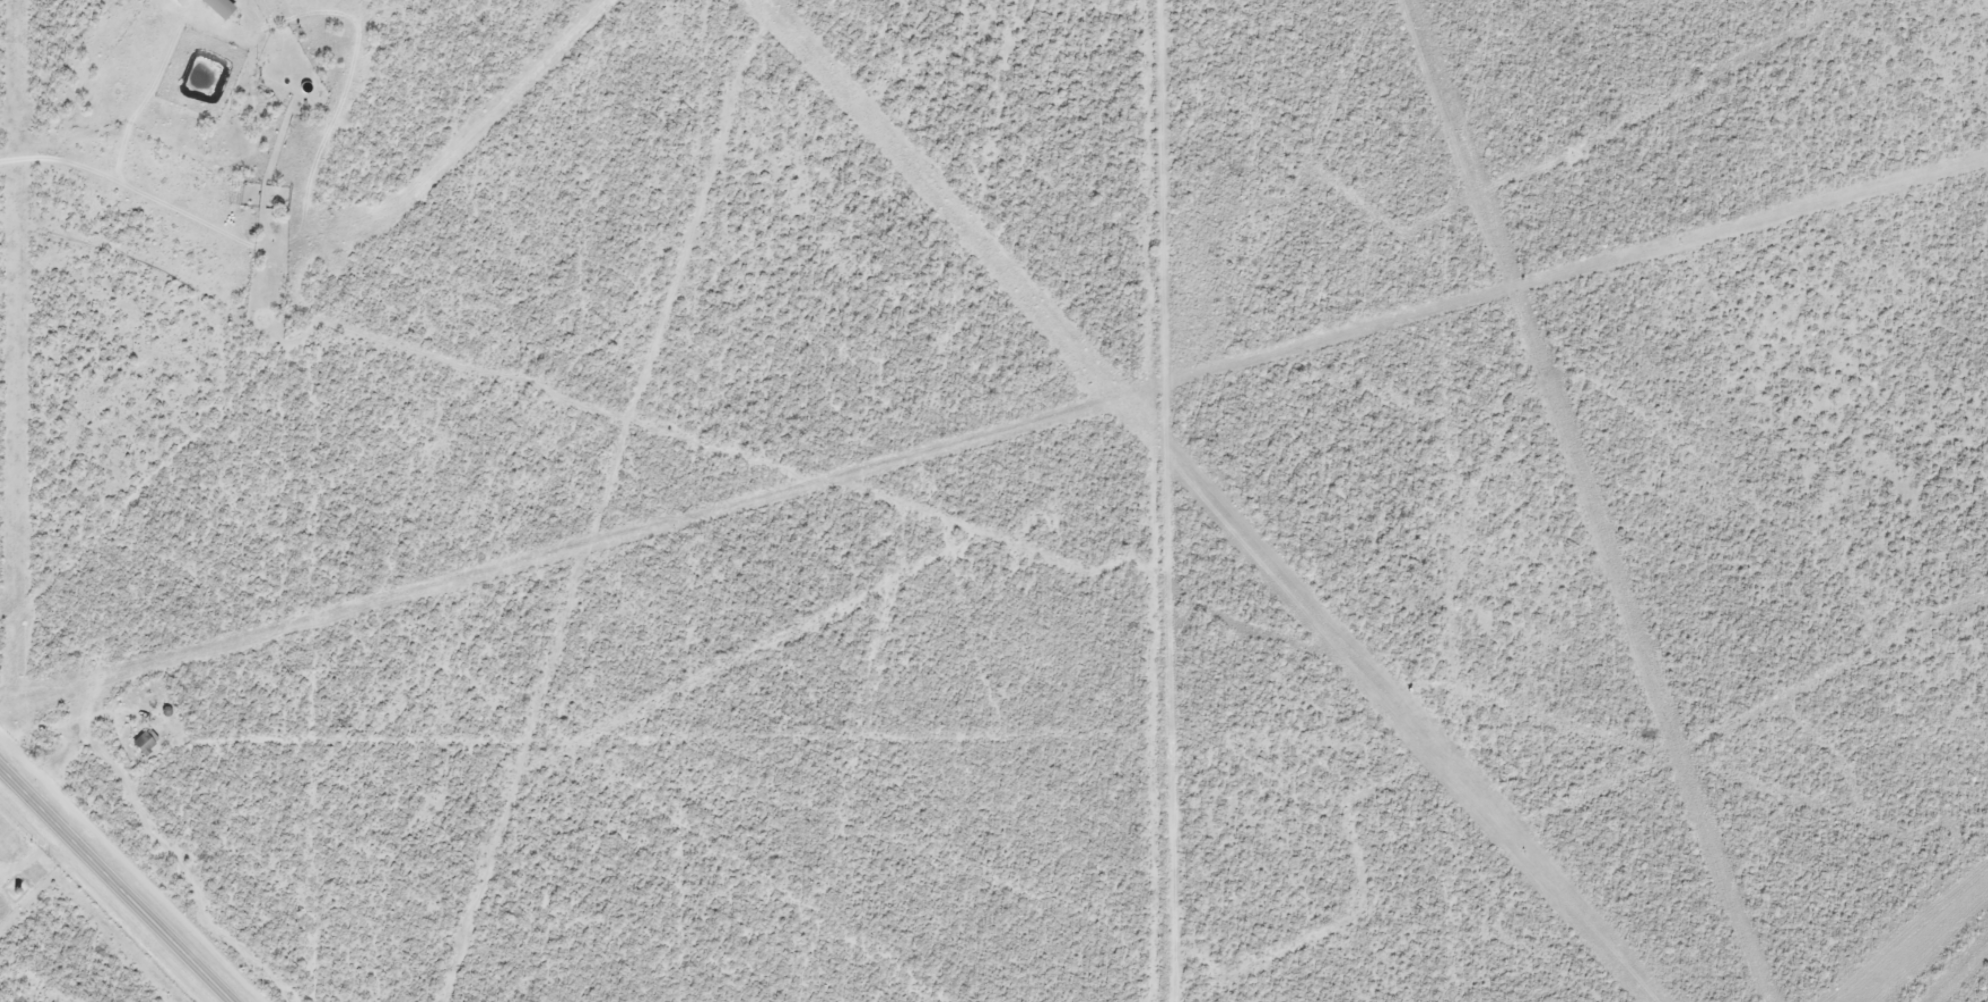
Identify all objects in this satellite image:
building: (180, 2)
building: (218, 8)
road: (114, 163)
building: (143, 743)
road: (114, 882)

